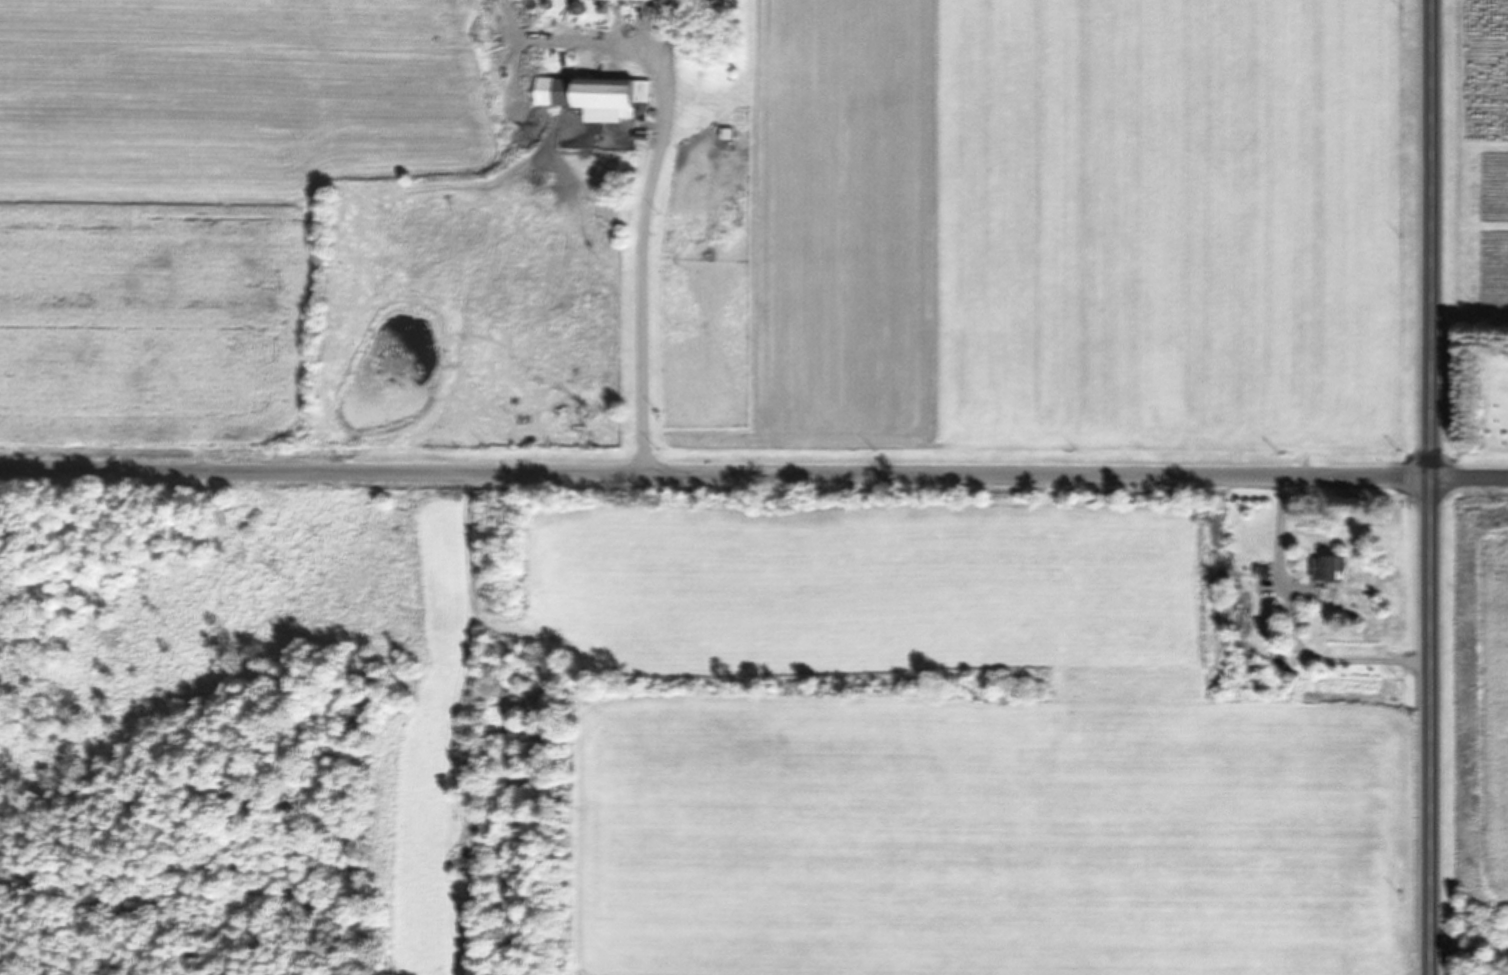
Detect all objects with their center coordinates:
building: (710, 2)
building: (598, 96)
crop: (714, 231)
road: (716, 472)
road: (1470, 476)
road: (1431, 487)
building: (1330, 567)
crop: (1475, 725)
crop: (904, 737)

